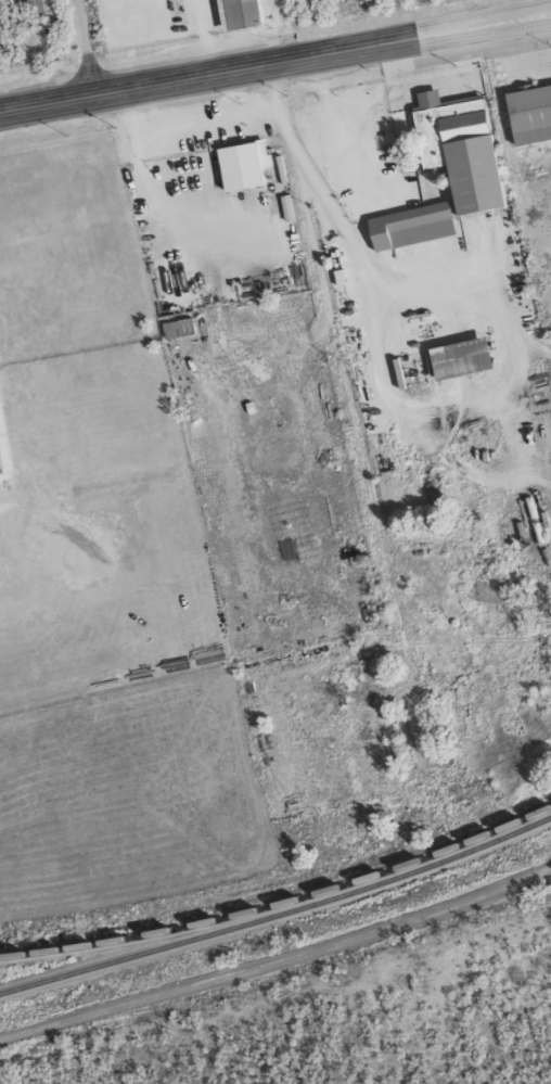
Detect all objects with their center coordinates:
building: (37, 5)
building: (246, 13)
road: (88, 47)
road: (275, 61)
building: (248, 164)
building: (480, 168)
building: (181, 329)
road: (329, 340)
building: (470, 358)
railway: (281, 903)
railway: (279, 916)
road: (278, 959)

